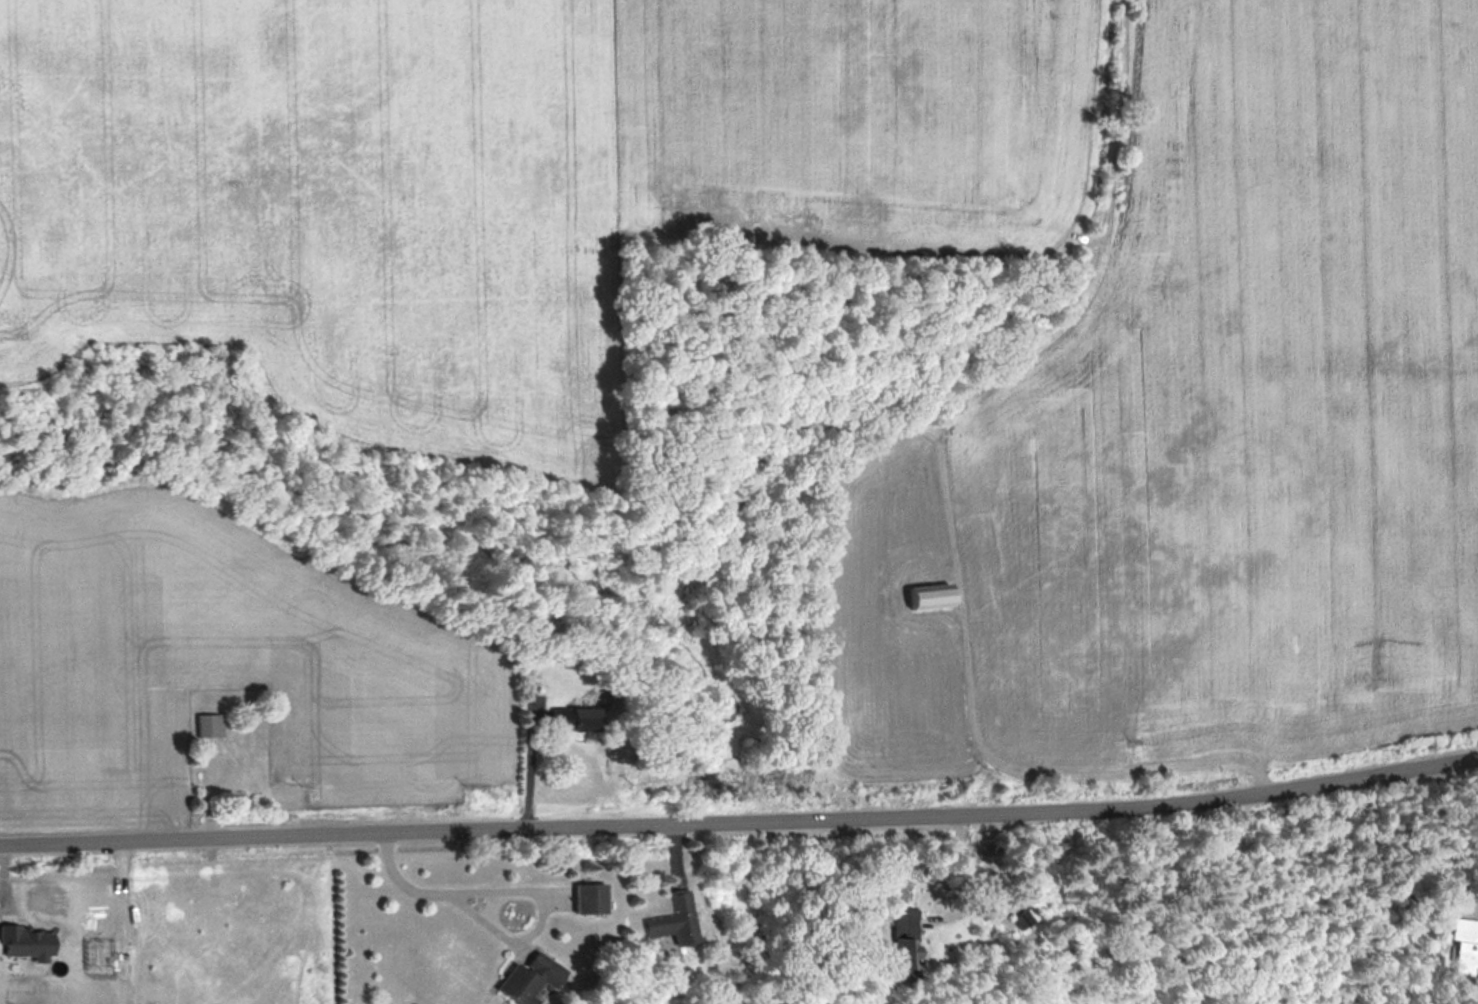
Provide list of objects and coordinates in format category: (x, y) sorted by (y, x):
road: (947, 492)
building: (933, 594)
building: (579, 719)
building: (211, 725)
building: (243, 740)
road: (741, 828)
road: (518, 886)
building: (595, 896)
building: (676, 918)
building: (1465, 943)
building: (533, 978)

